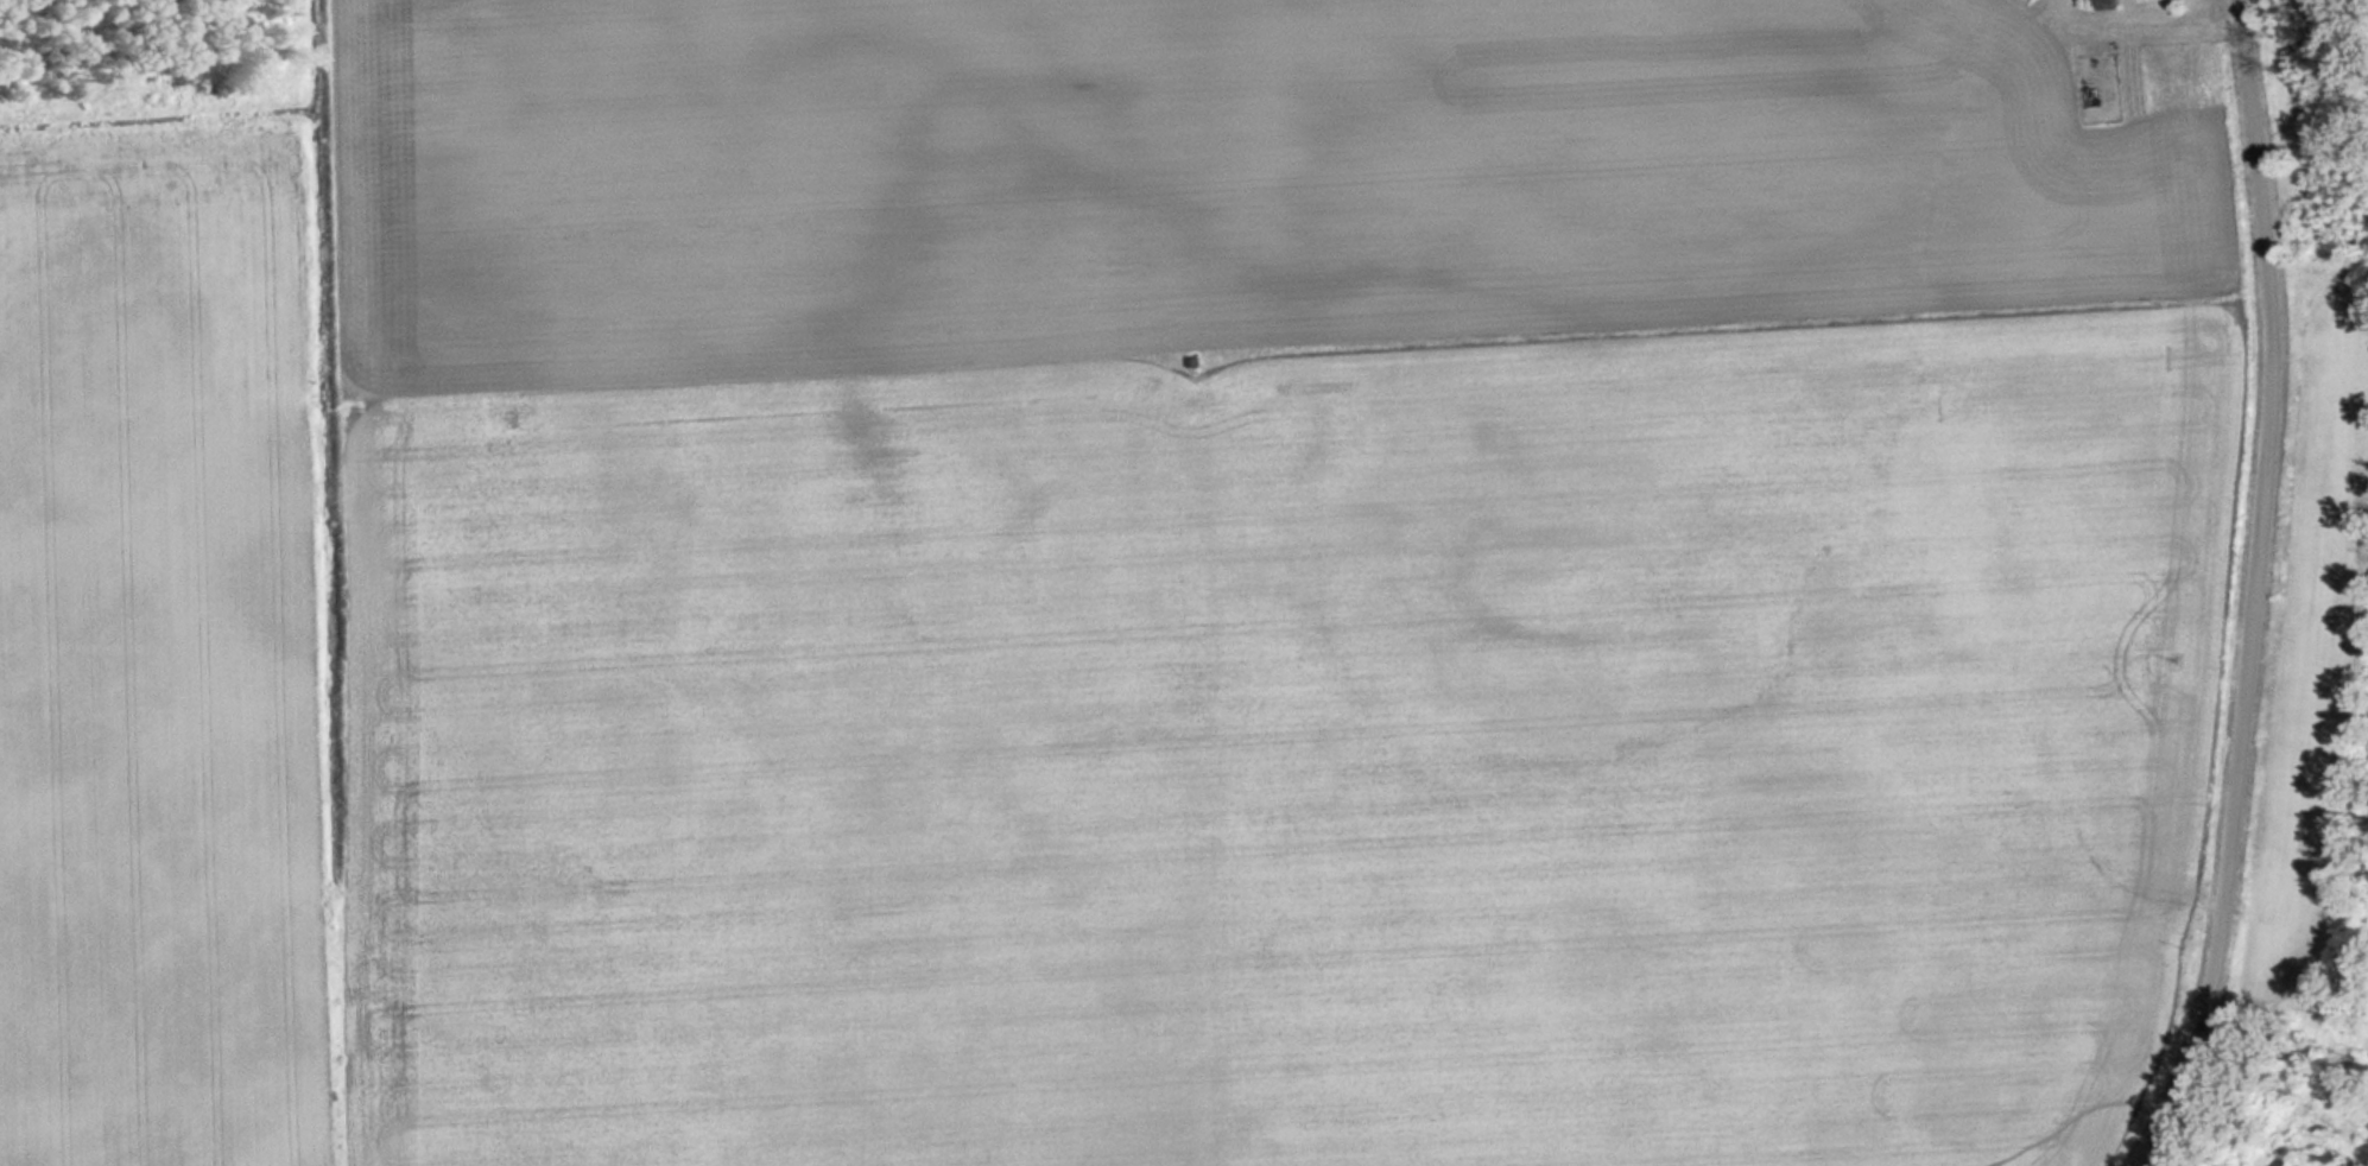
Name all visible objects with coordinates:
building: (2100, 5)
road: (2267, 589)

